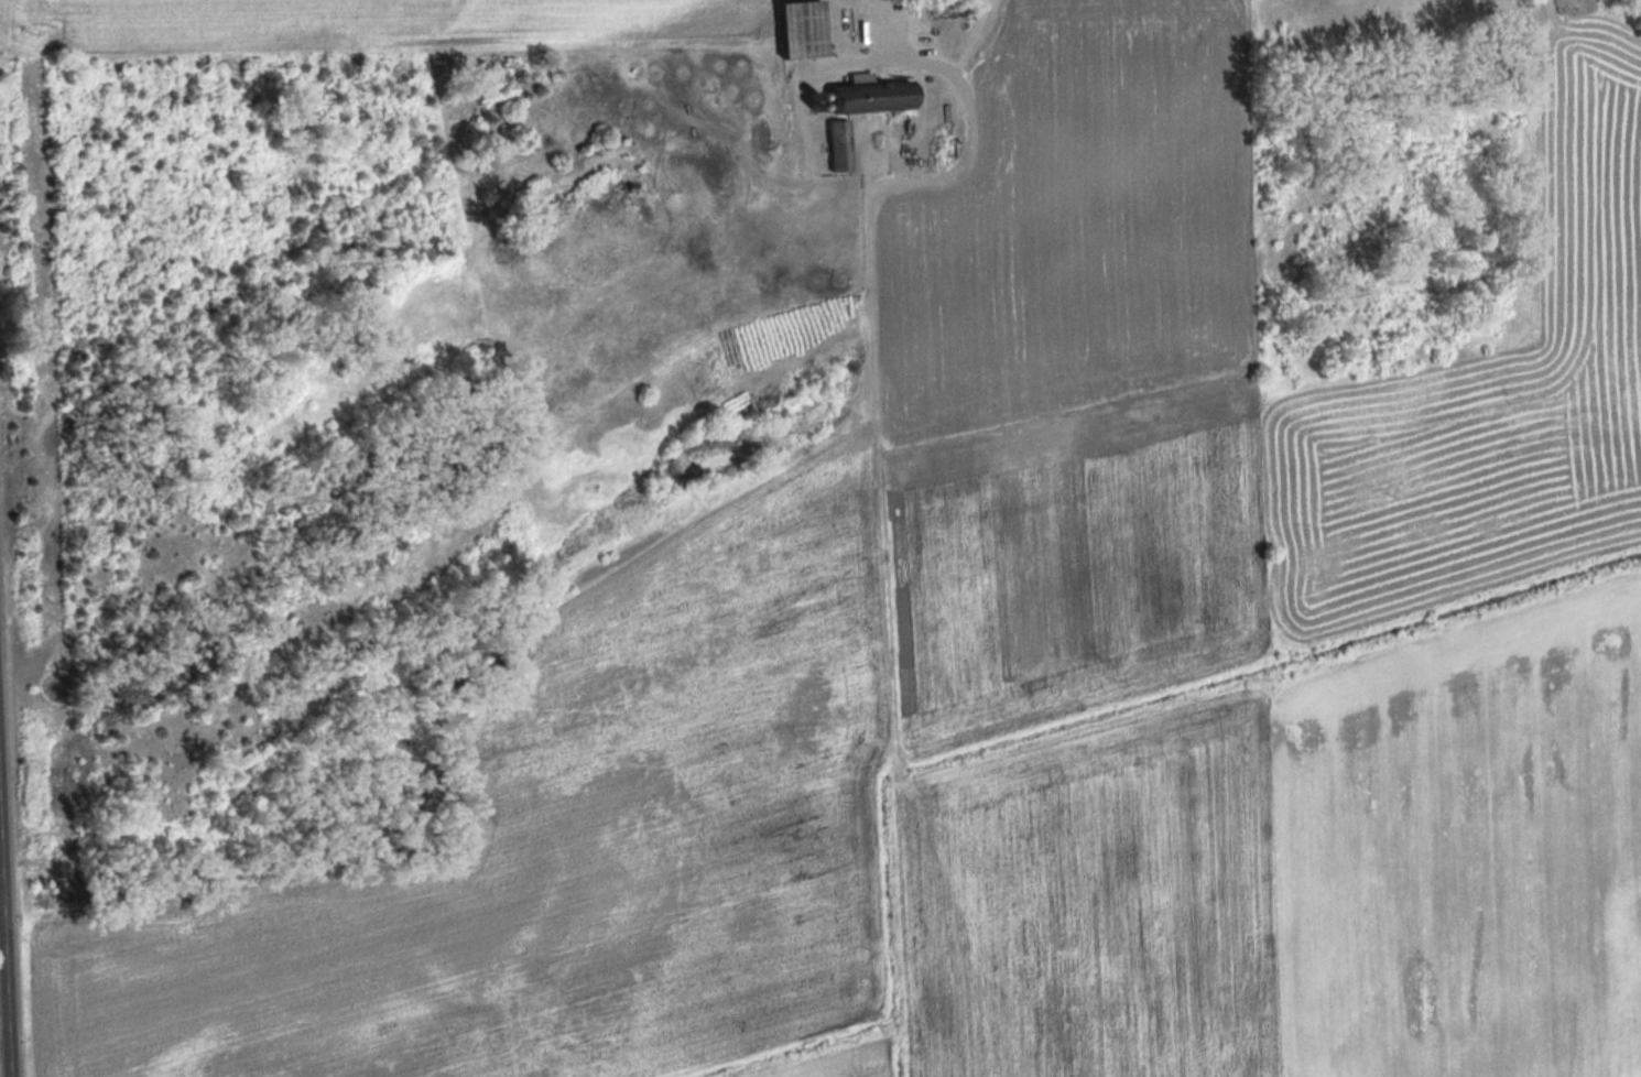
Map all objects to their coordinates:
building: (806, 28)
building: (881, 98)
building: (841, 144)
road: (4, 954)

